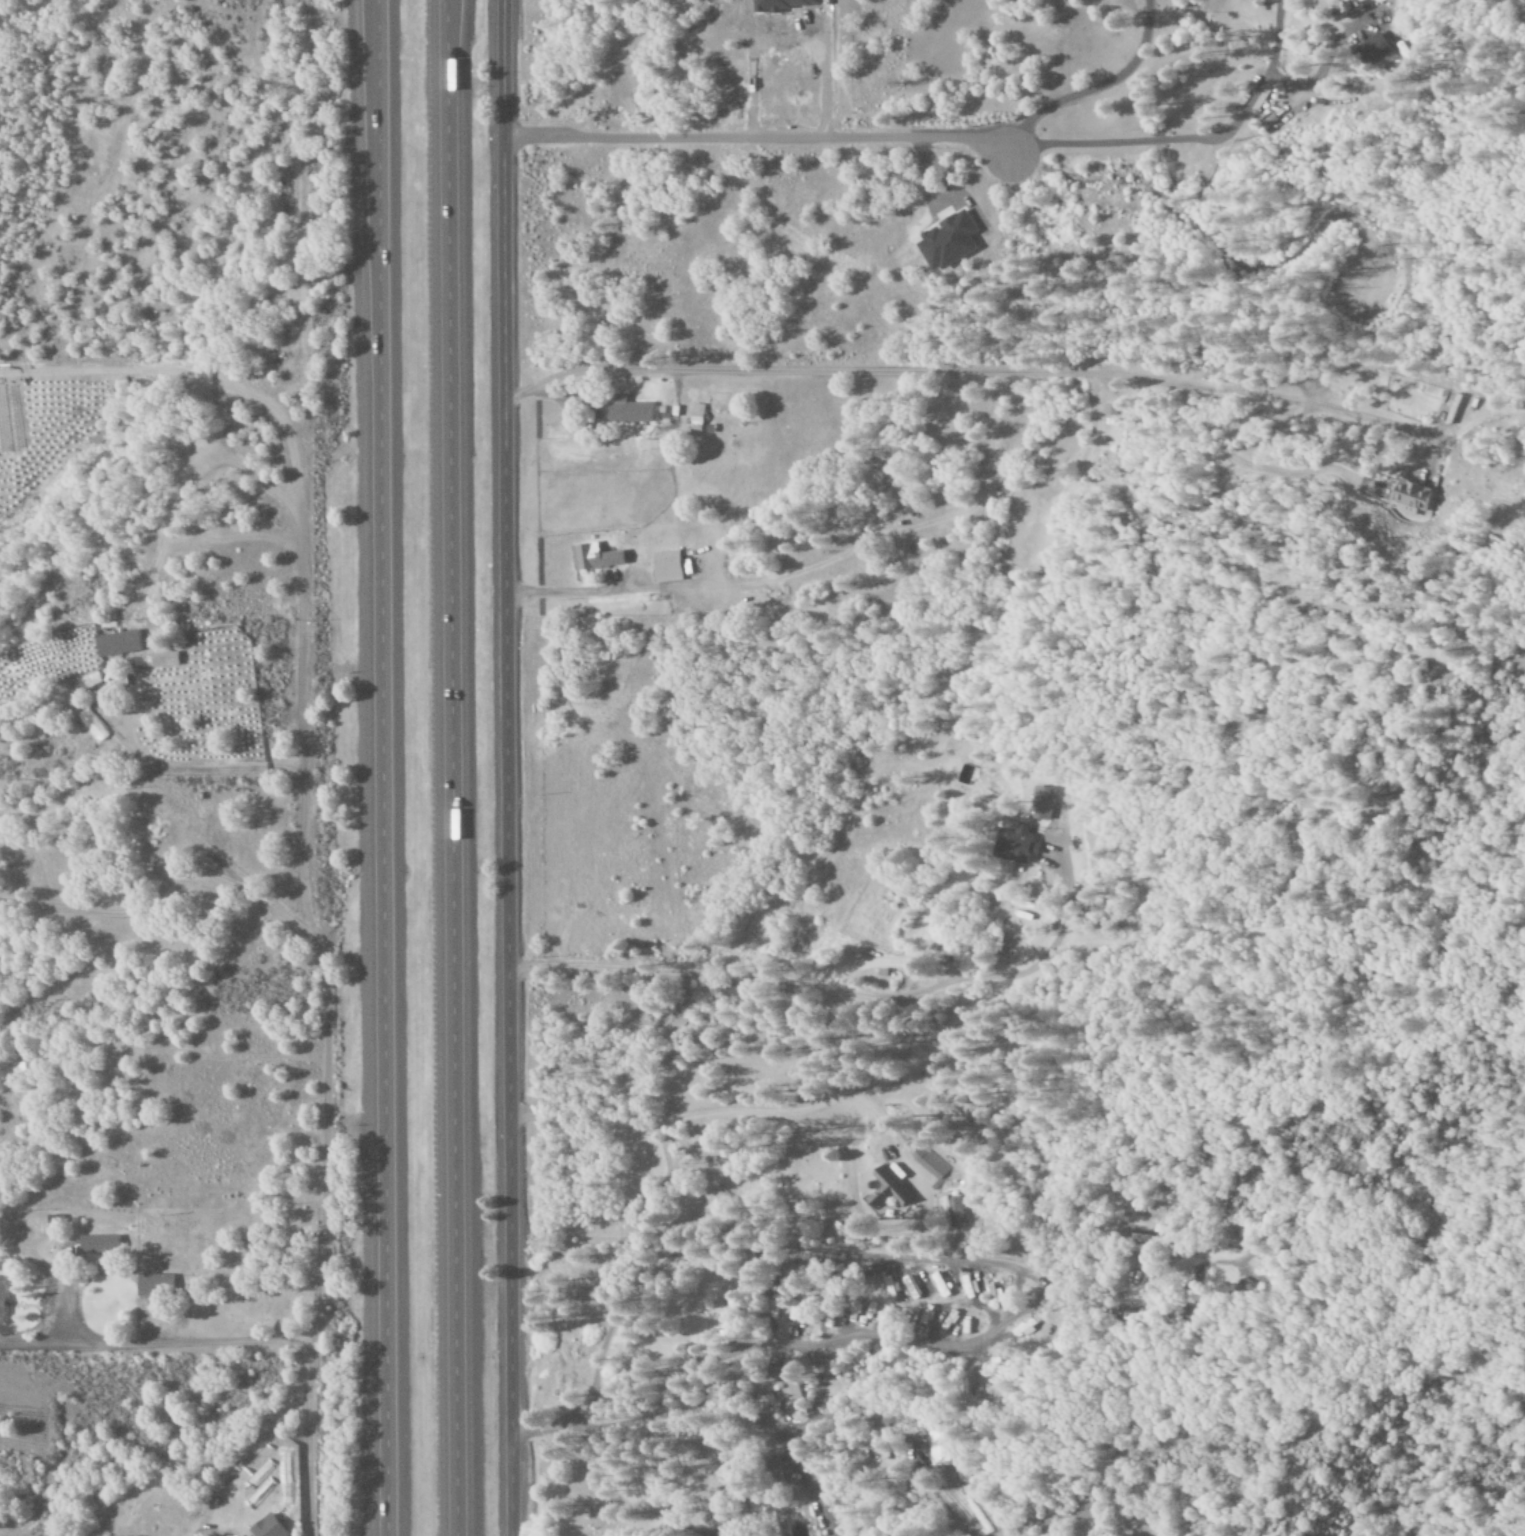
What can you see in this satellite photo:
building: (1373, 48)
building: (945, 241)
building: (626, 411)
building: (694, 414)
building: (3, 426)
building: (1409, 494)
building: (590, 557)
building: (667, 567)
building: (115, 644)
building: (162, 660)
road: (467, 767)
road: (381, 768)
road: (506, 768)
building: (1040, 803)
building: (1014, 844)
road: (319, 971)
building: (928, 1162)
building: (883, 1191)
building: (955, 1212)
building: (96, 1246)
building: (152, 1284)
building: (1, 1297)
building: (993, 1298)
building: (772, 1305)
building: (1136, 1314)
building: (790, 1395)
building: (941, 1448)
building: (770, 1472)
building: (264, 1528)

